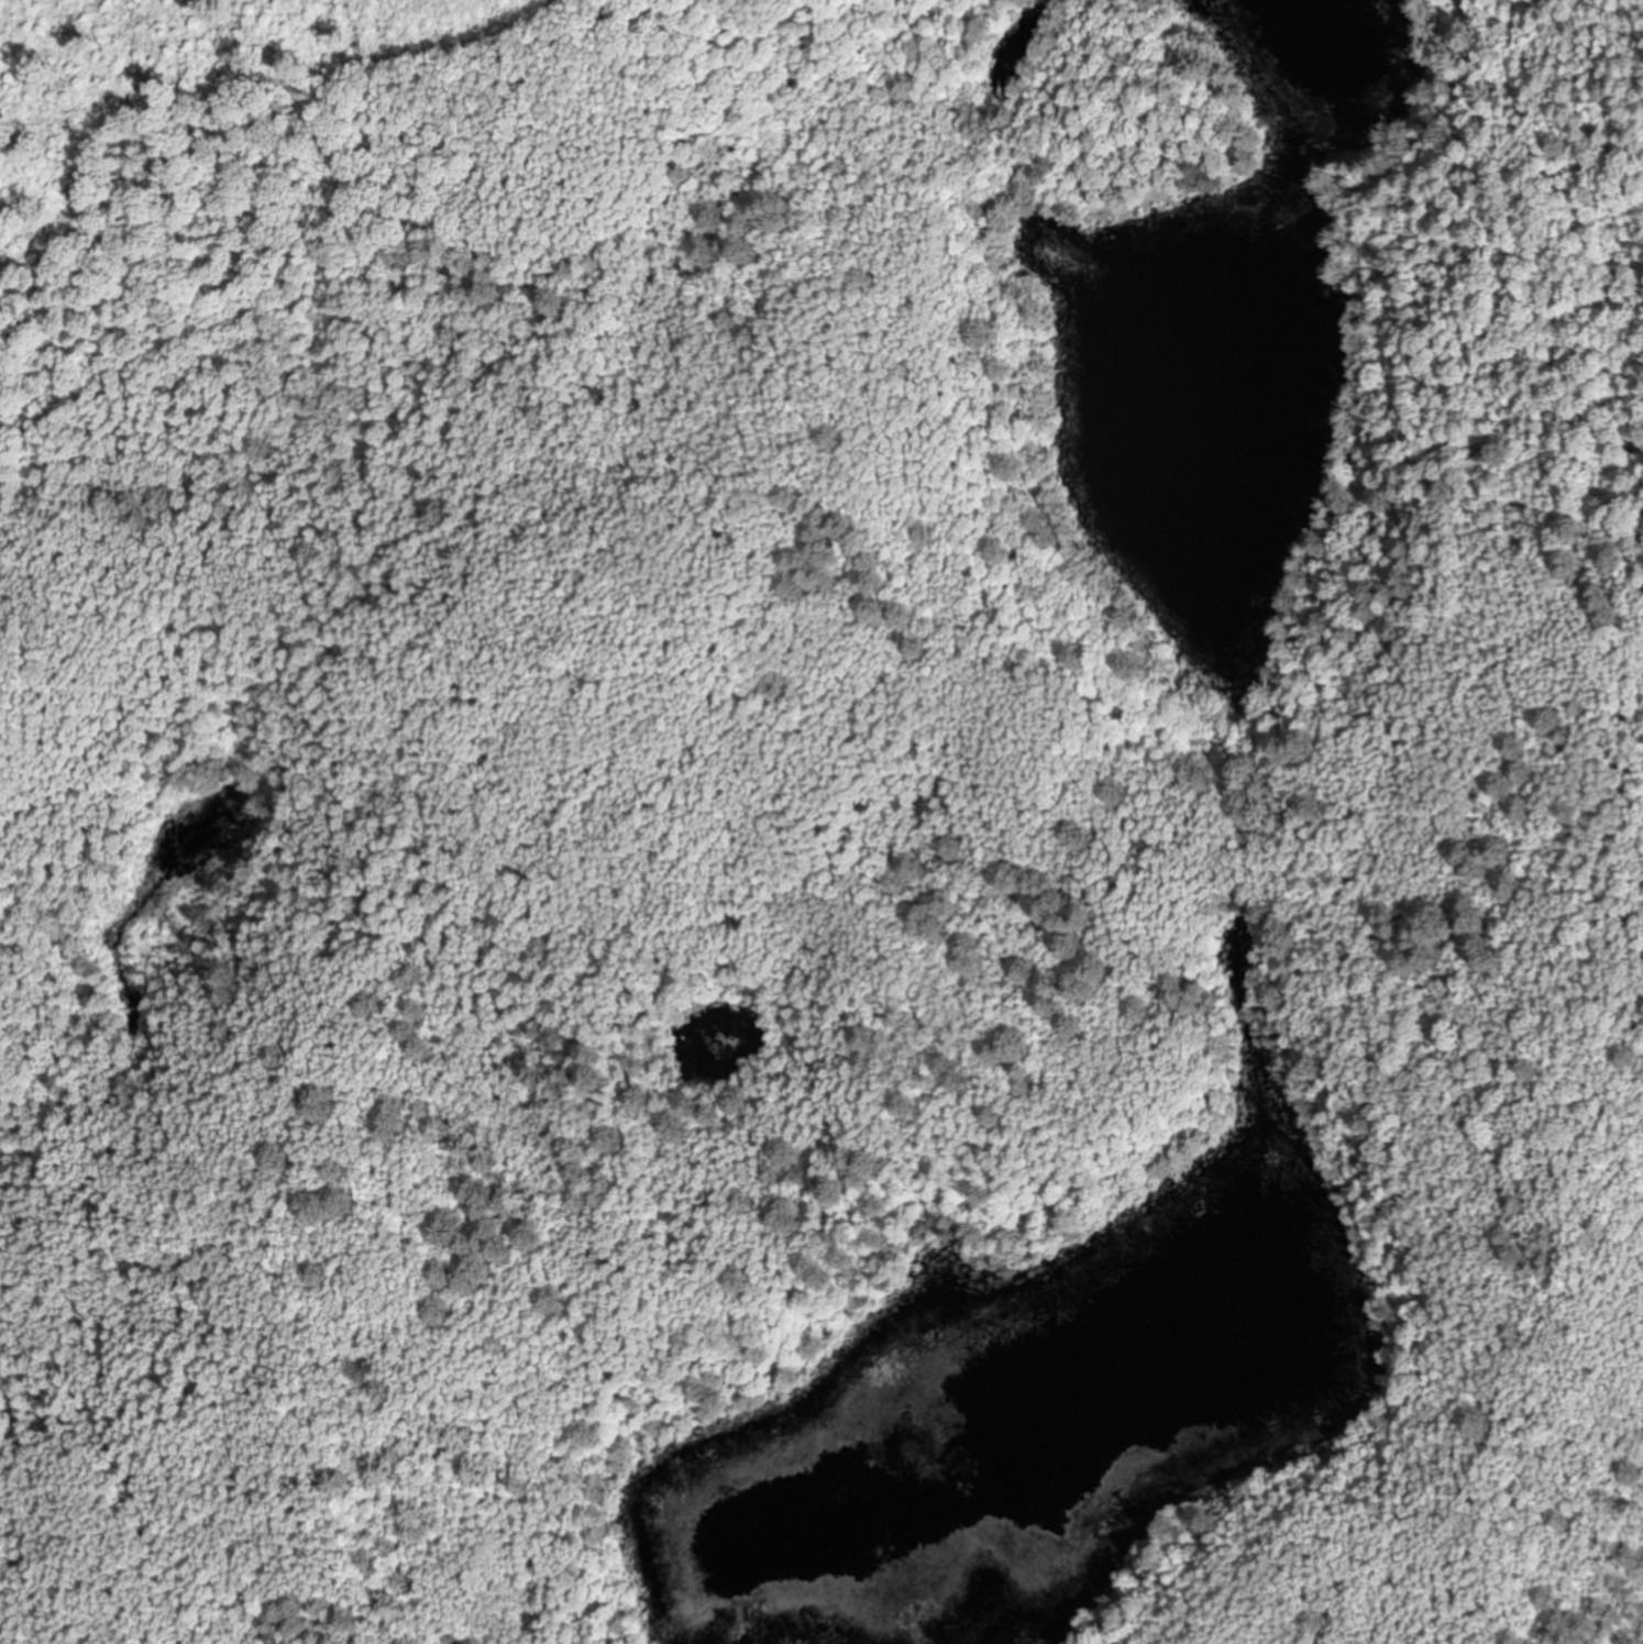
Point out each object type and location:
road: (519, 290)

